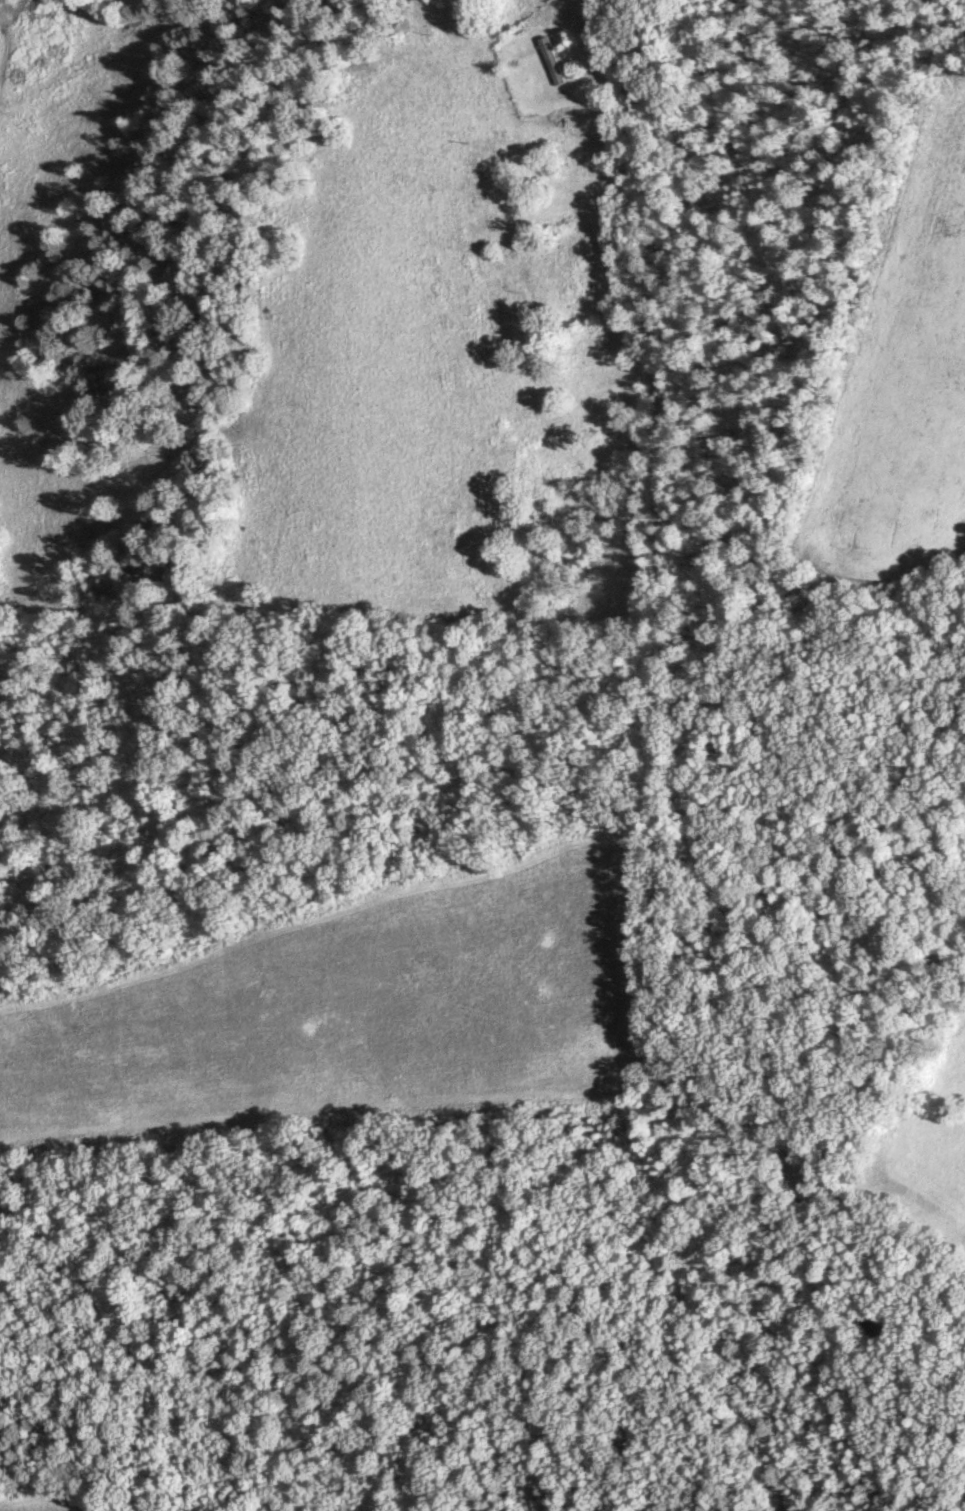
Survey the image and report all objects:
building: (593, 37)
building: (555, 62)
road: (662, 715)

